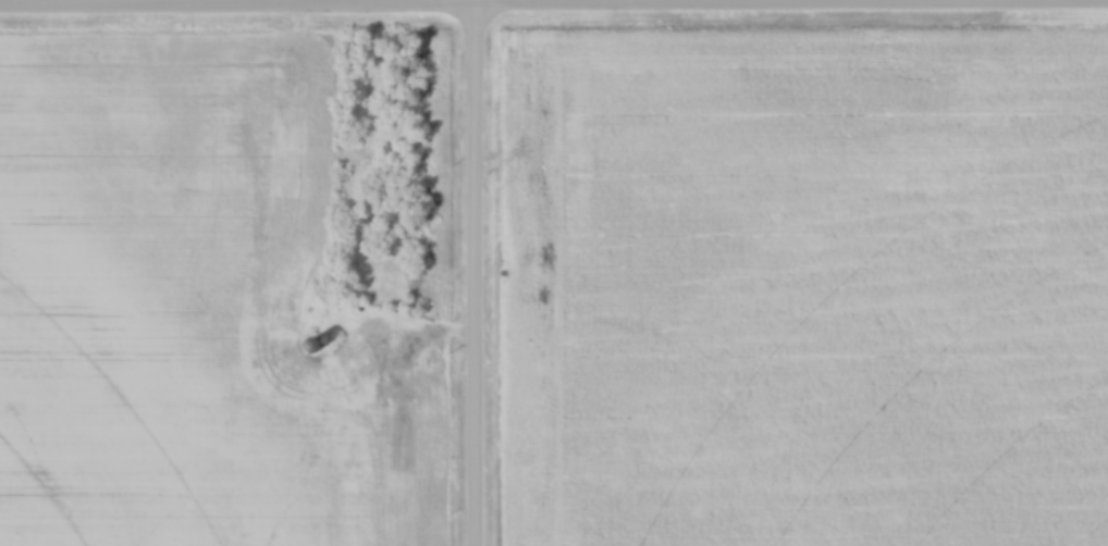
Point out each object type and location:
road: (553, 9)
road: (477, 272)

